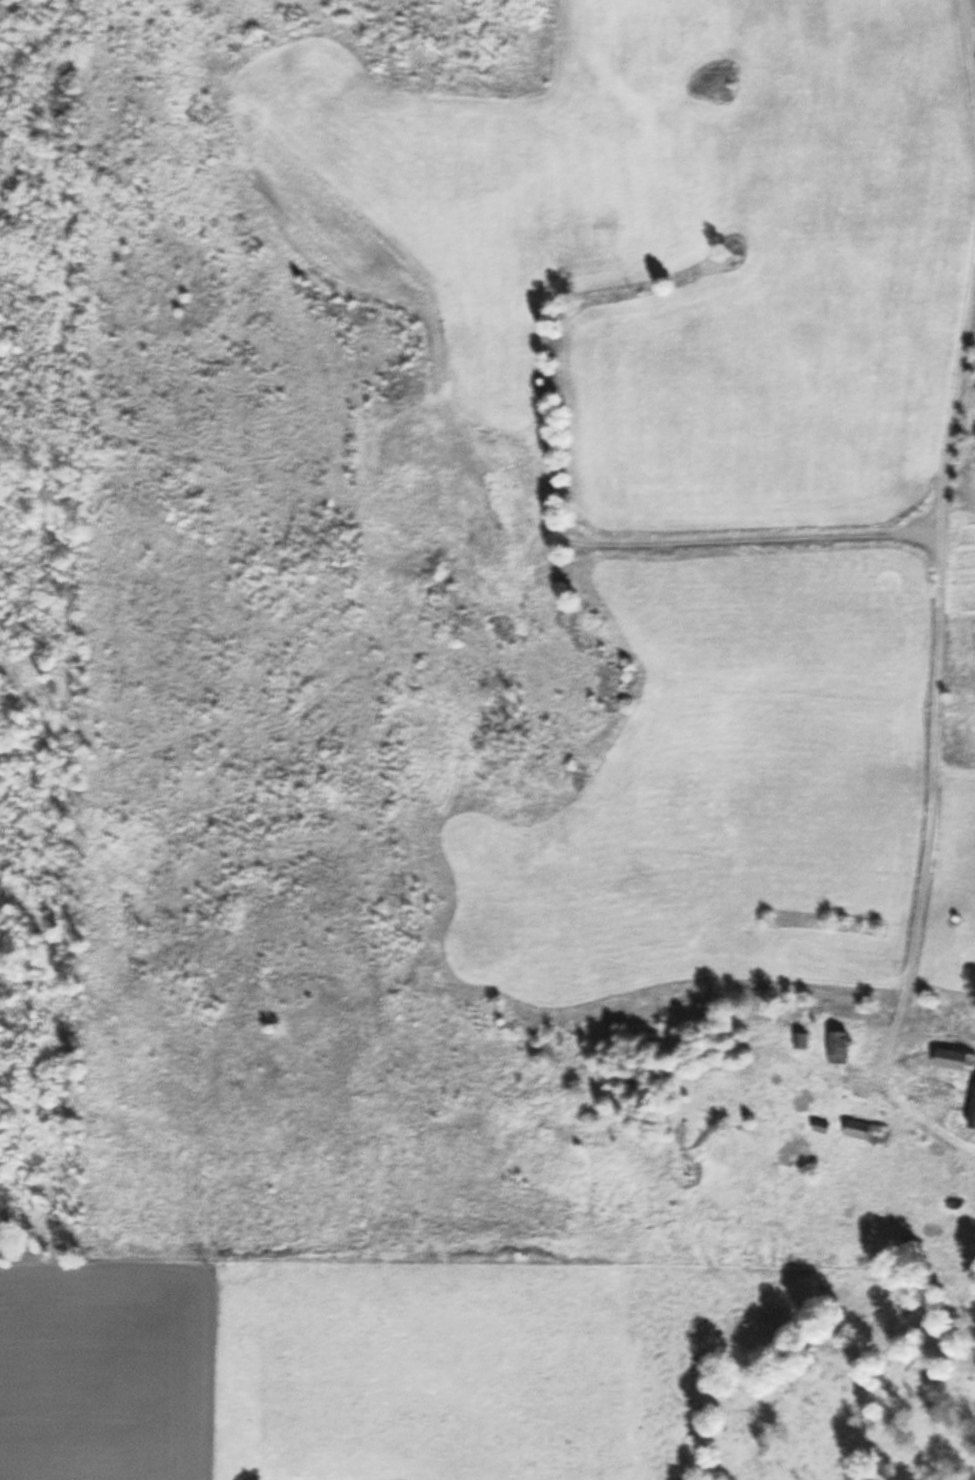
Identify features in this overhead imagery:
road: (936, 687)
building: (842, 1047)
building: (957, 1060)
building: (974, 1125)
building: (823, 1127)
building: (869, 1132)

